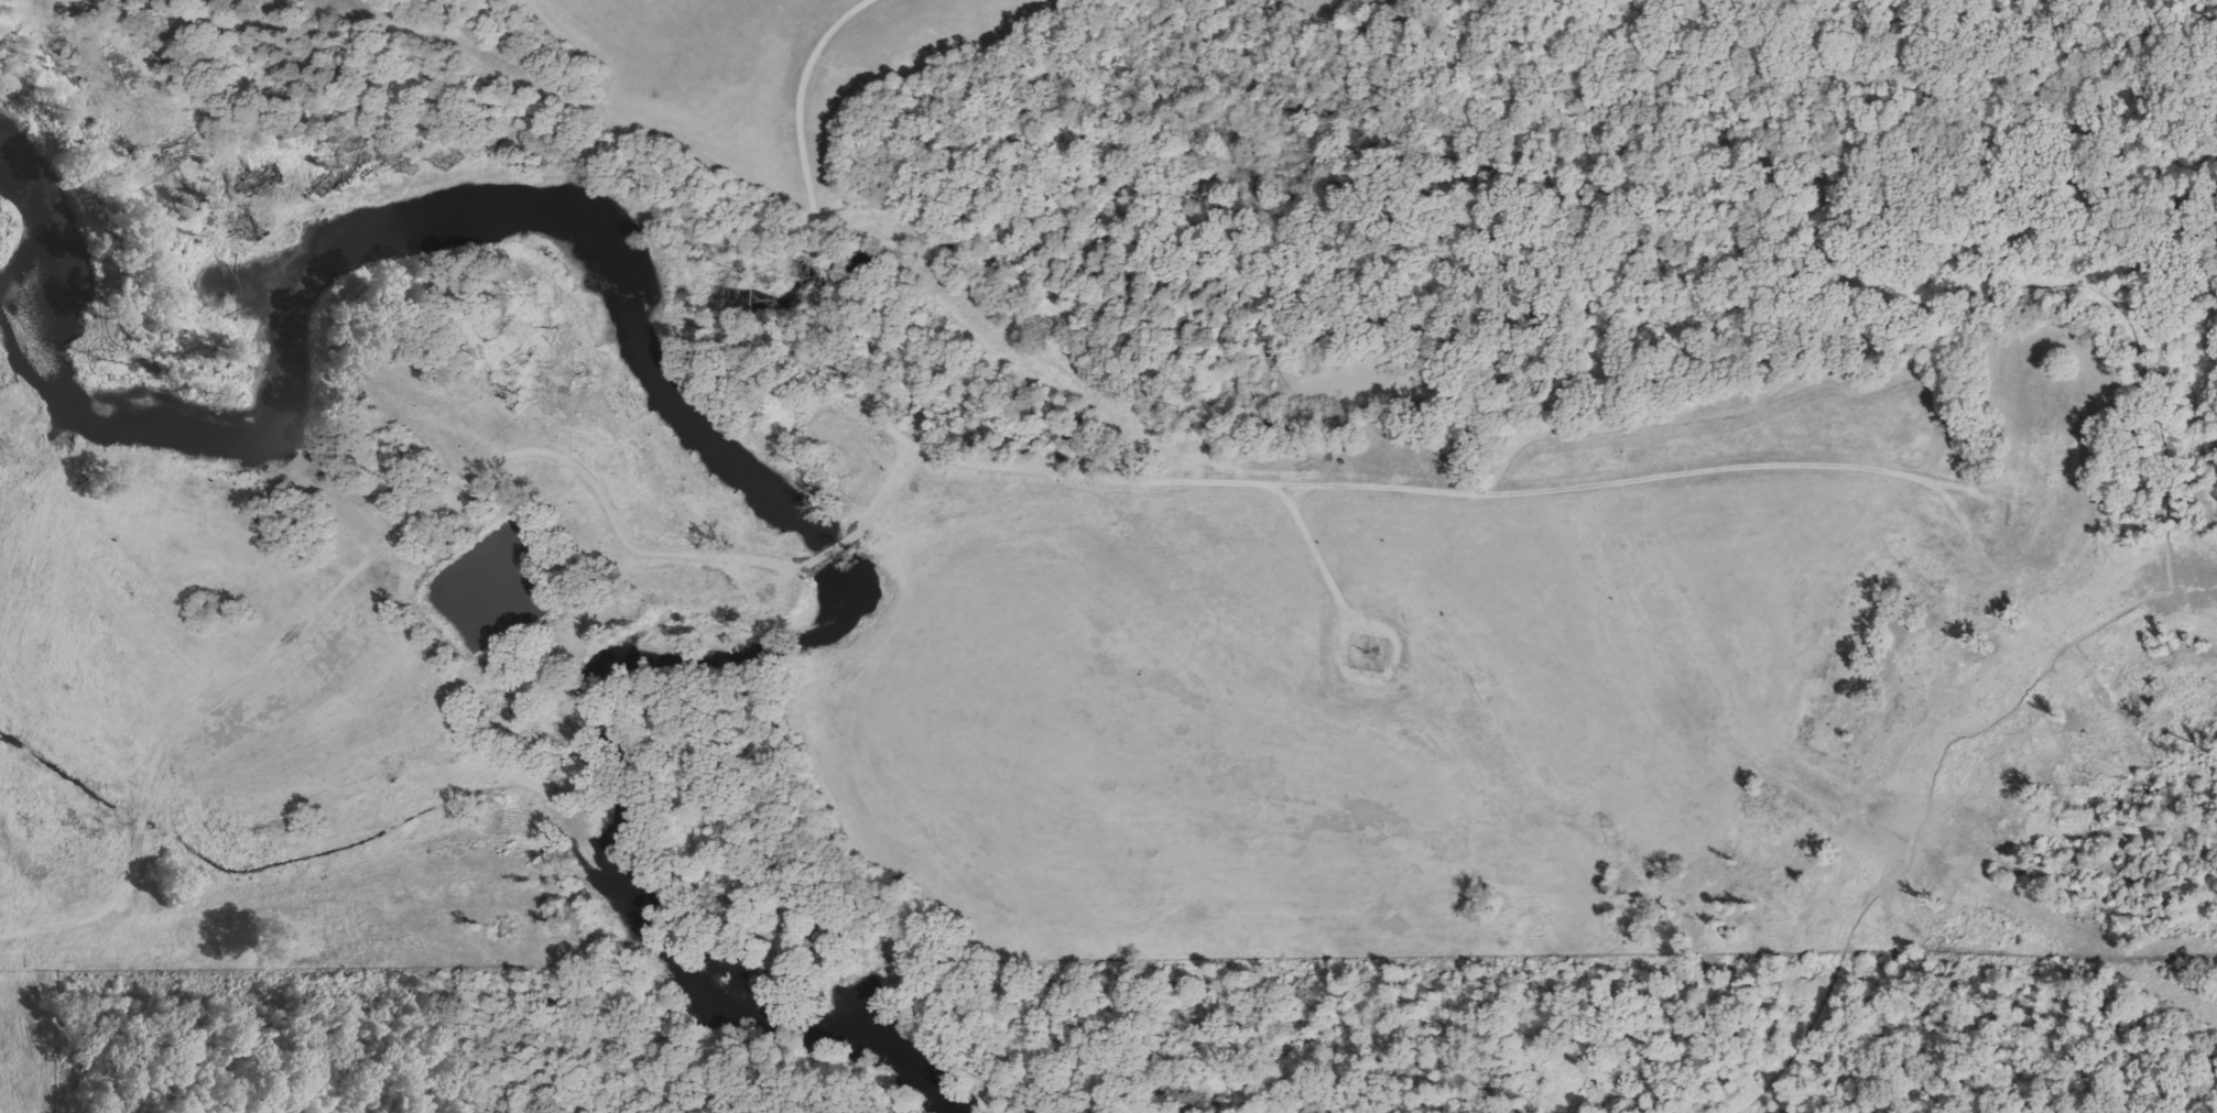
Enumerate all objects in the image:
road: (1178, 474)

